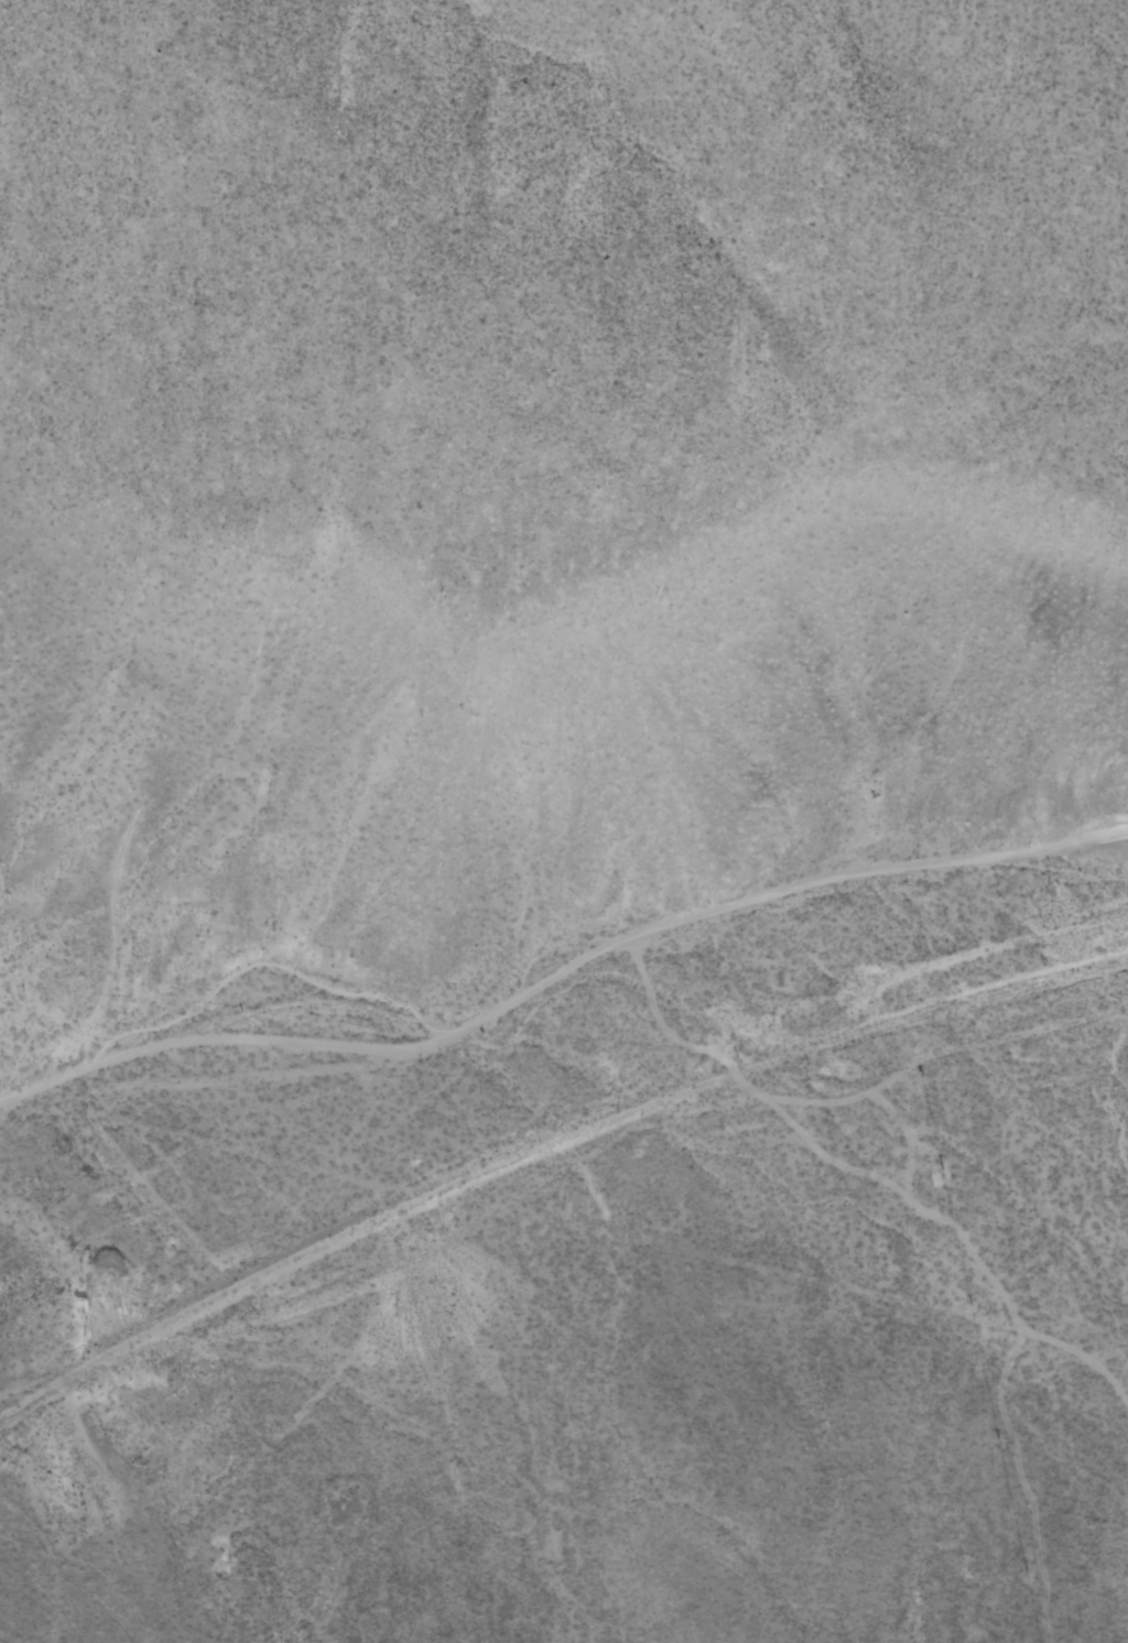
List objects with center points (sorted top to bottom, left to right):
road: (560, 976)

